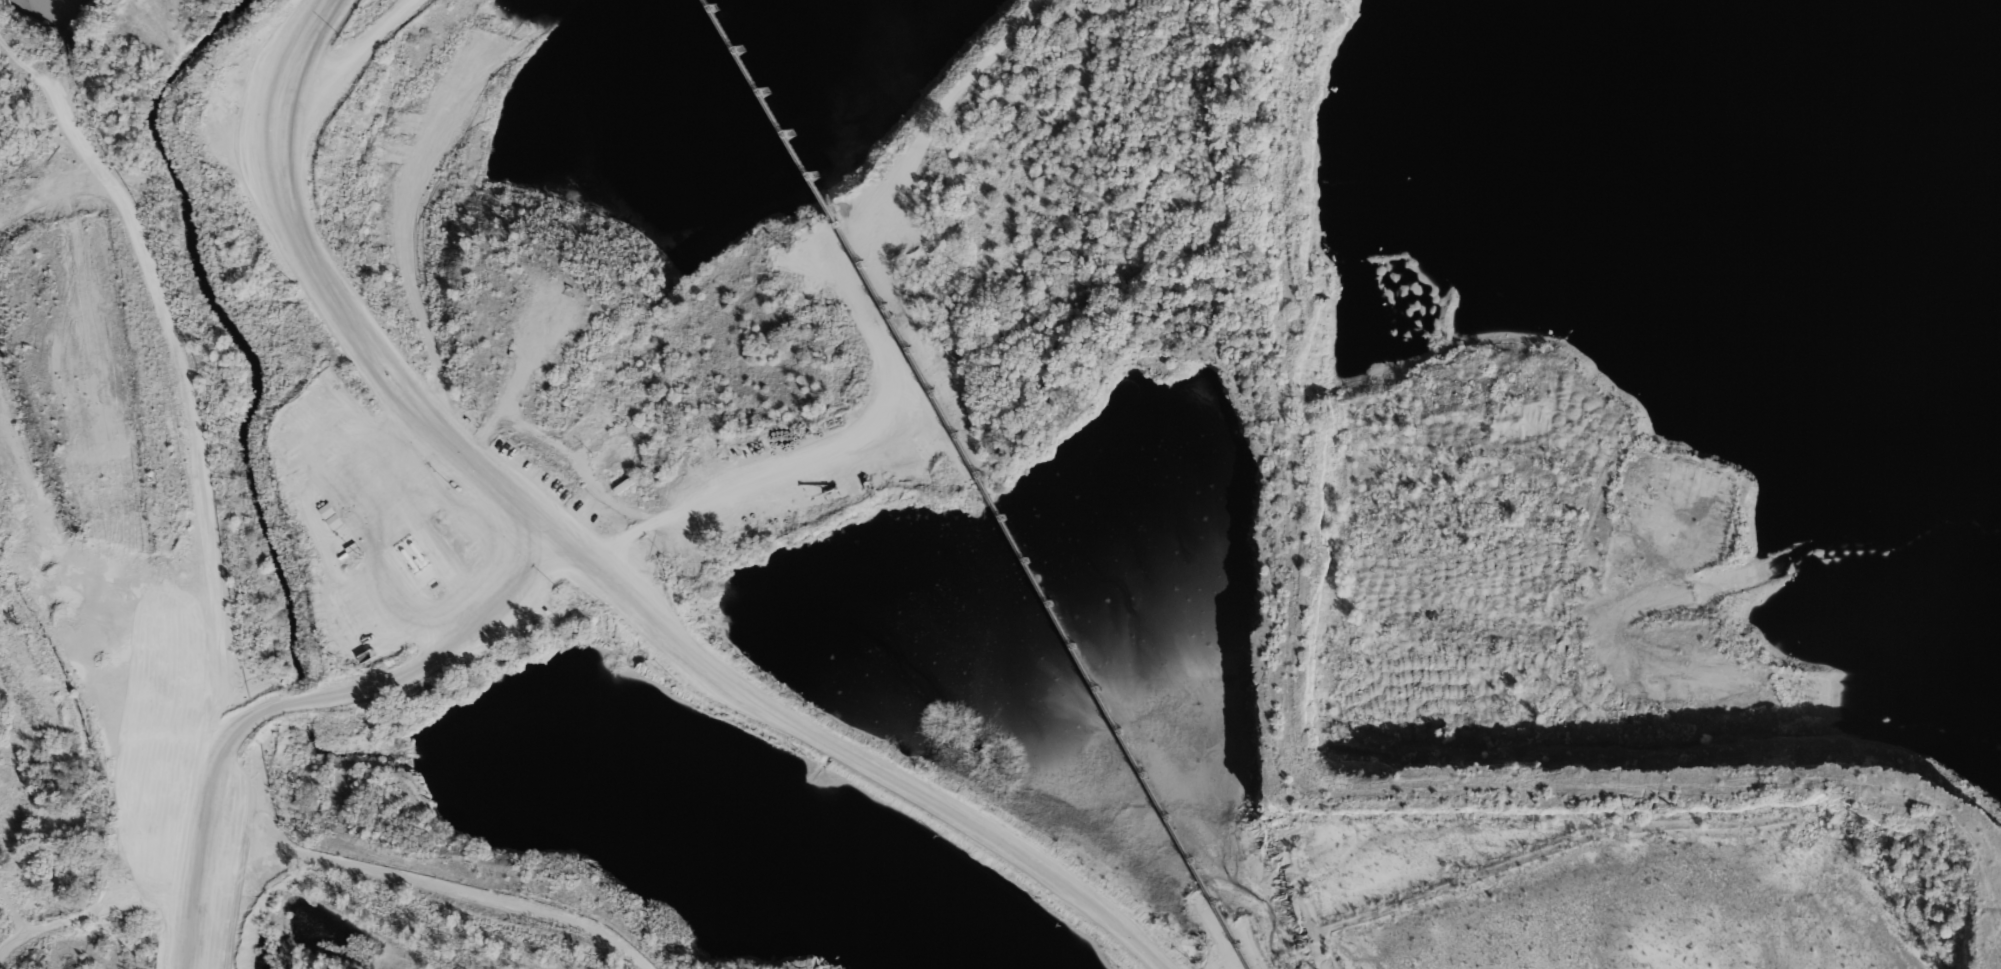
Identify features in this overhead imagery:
road: (175, 356)
building: (629, 482)
building: (332, 515)
quarry: (1592, 565)
road: (587, 567)
road: (291, 691)
quarry: (1213, 744)
road: (12, 910)
road: (84, 912)

